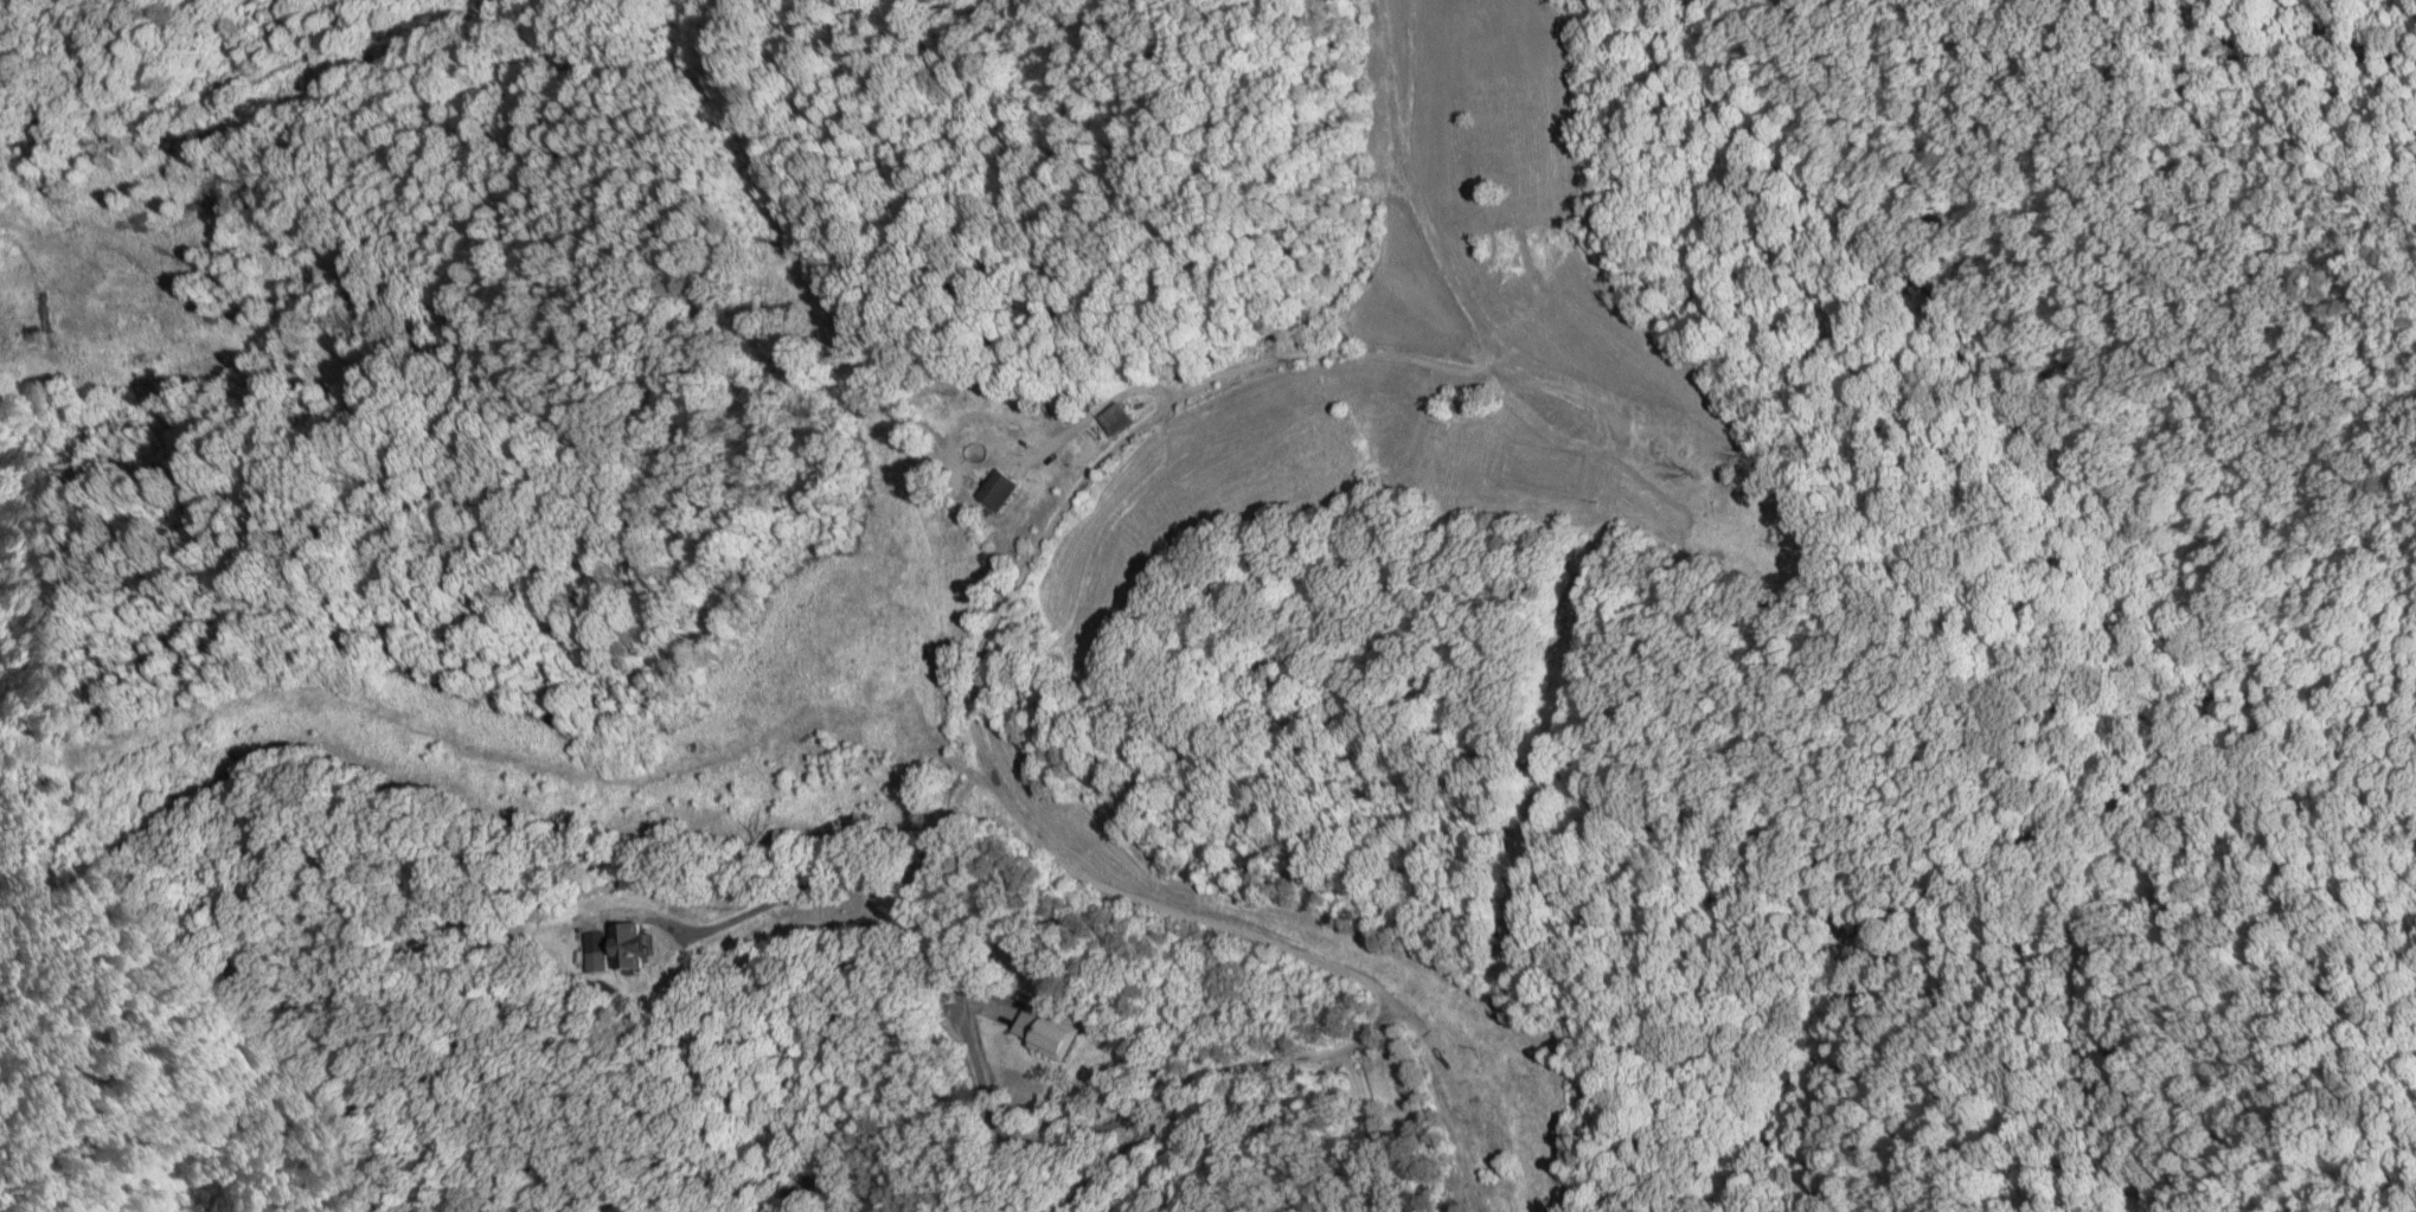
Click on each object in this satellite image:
building: (1124, 419)
road: (1097, 469)
building: (1008, 490)
building: (640, 945)
building: (603, 962)
building: (1055, 1033)
road: (1210, 1075)
building: (1483, 1139)
road: (816, 1179)

